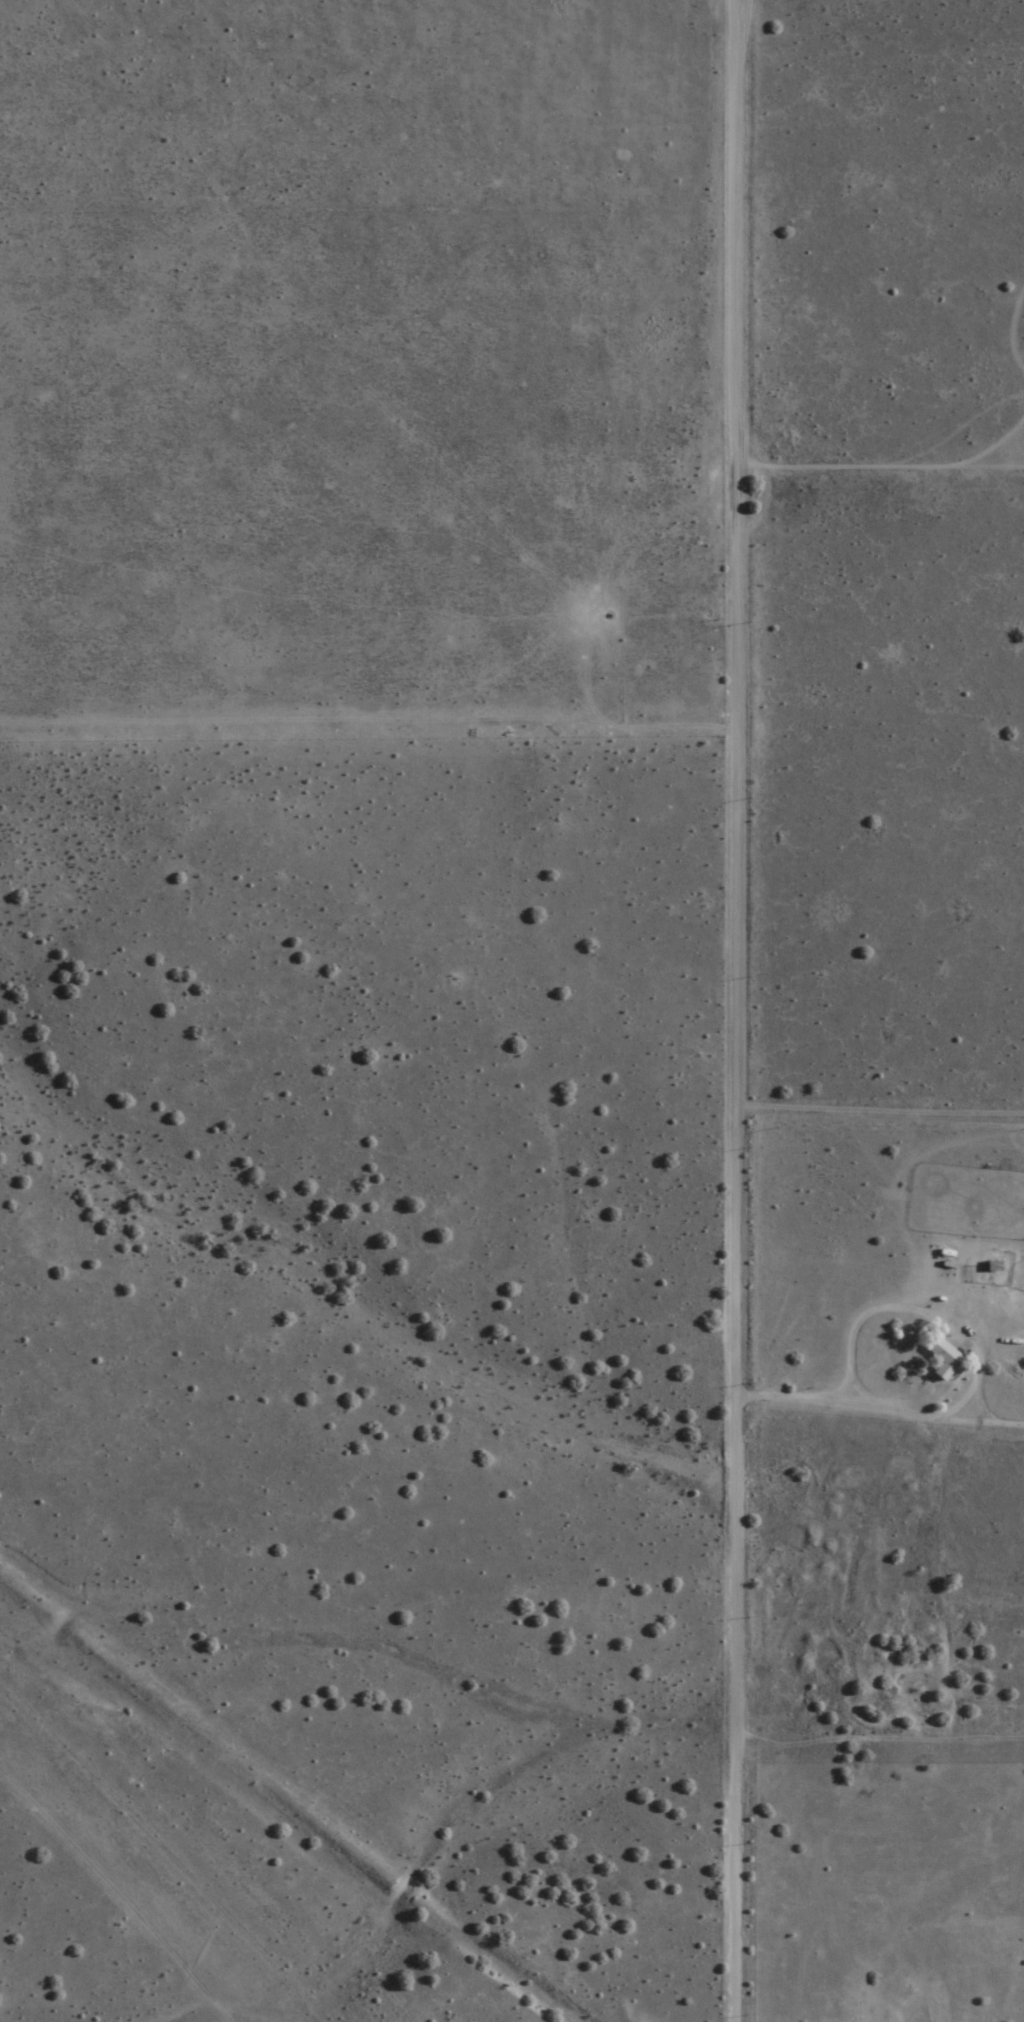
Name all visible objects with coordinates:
road: (738, 1011)
building: (993, 1267)
building: (942, 1360)

